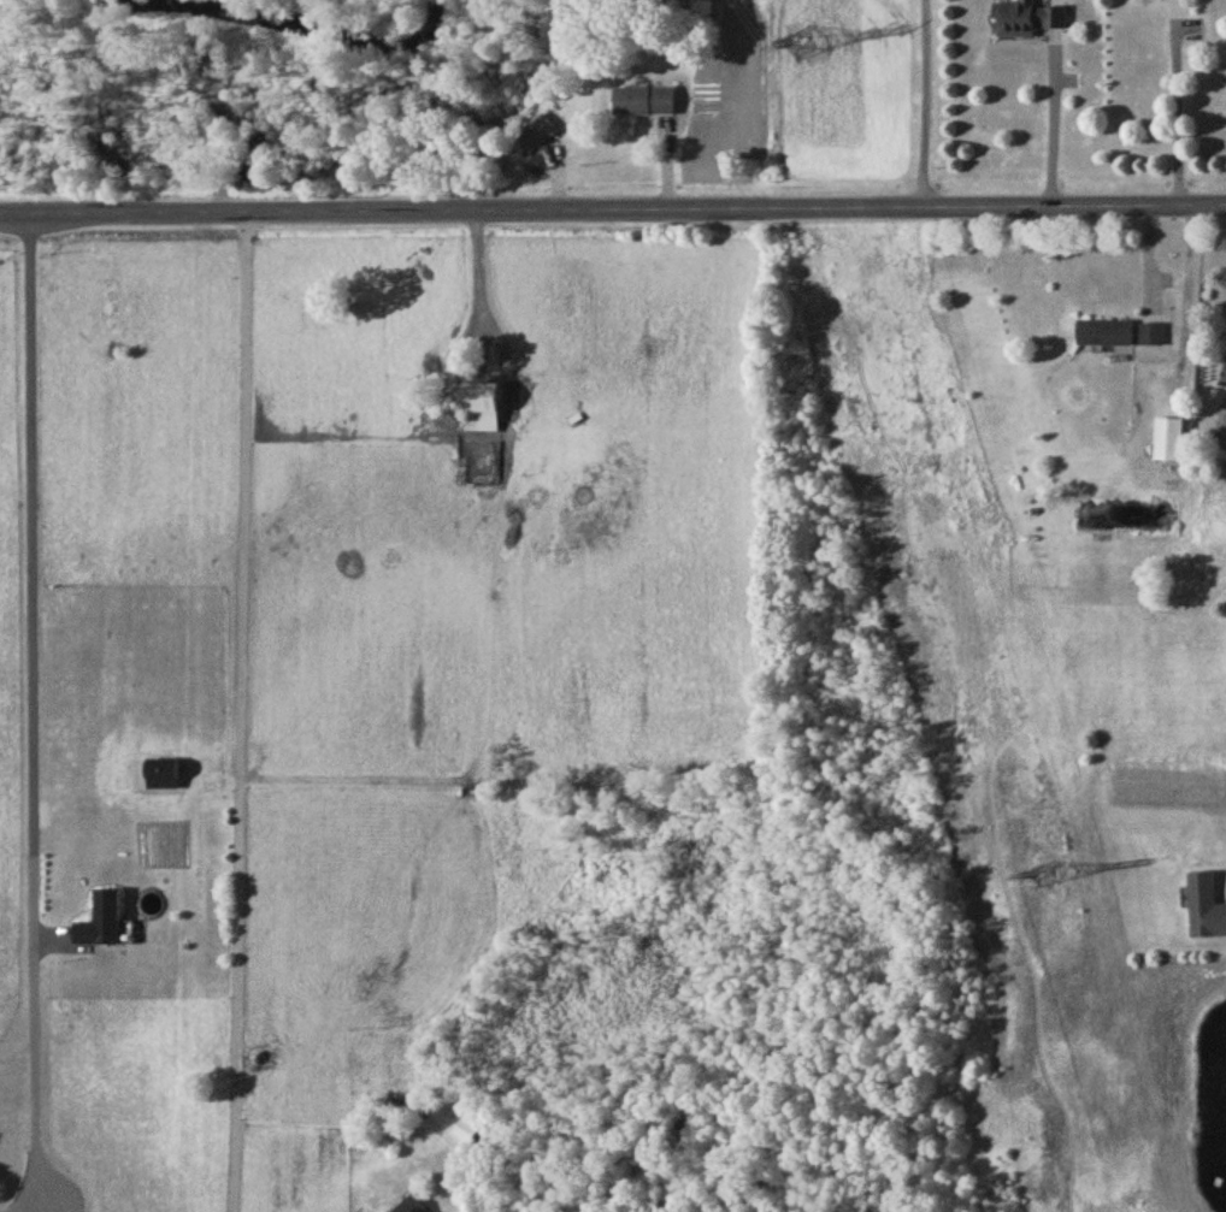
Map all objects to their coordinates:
building: (1160, 0)
building: (1026, 22)
power tower: (798, 46)
road: (925, 99)
building: (644, 104)
road: (1179, 110)
road: (1055, 120)
building: (537, 136)
road: (613, 207)
road: (481, 290)
building: (1106, 335)
building: (1151, 337)
building: (1224, 382)
building: (481, 410)
building: (1167, 443)
road: (31, 708)
road: (241, 713)
power tower: (1047, 879)
building: (1204, 911)
building: (102, 924)
building: (467, 1133)
road: (53, 1207)
building: (413, 1207)

